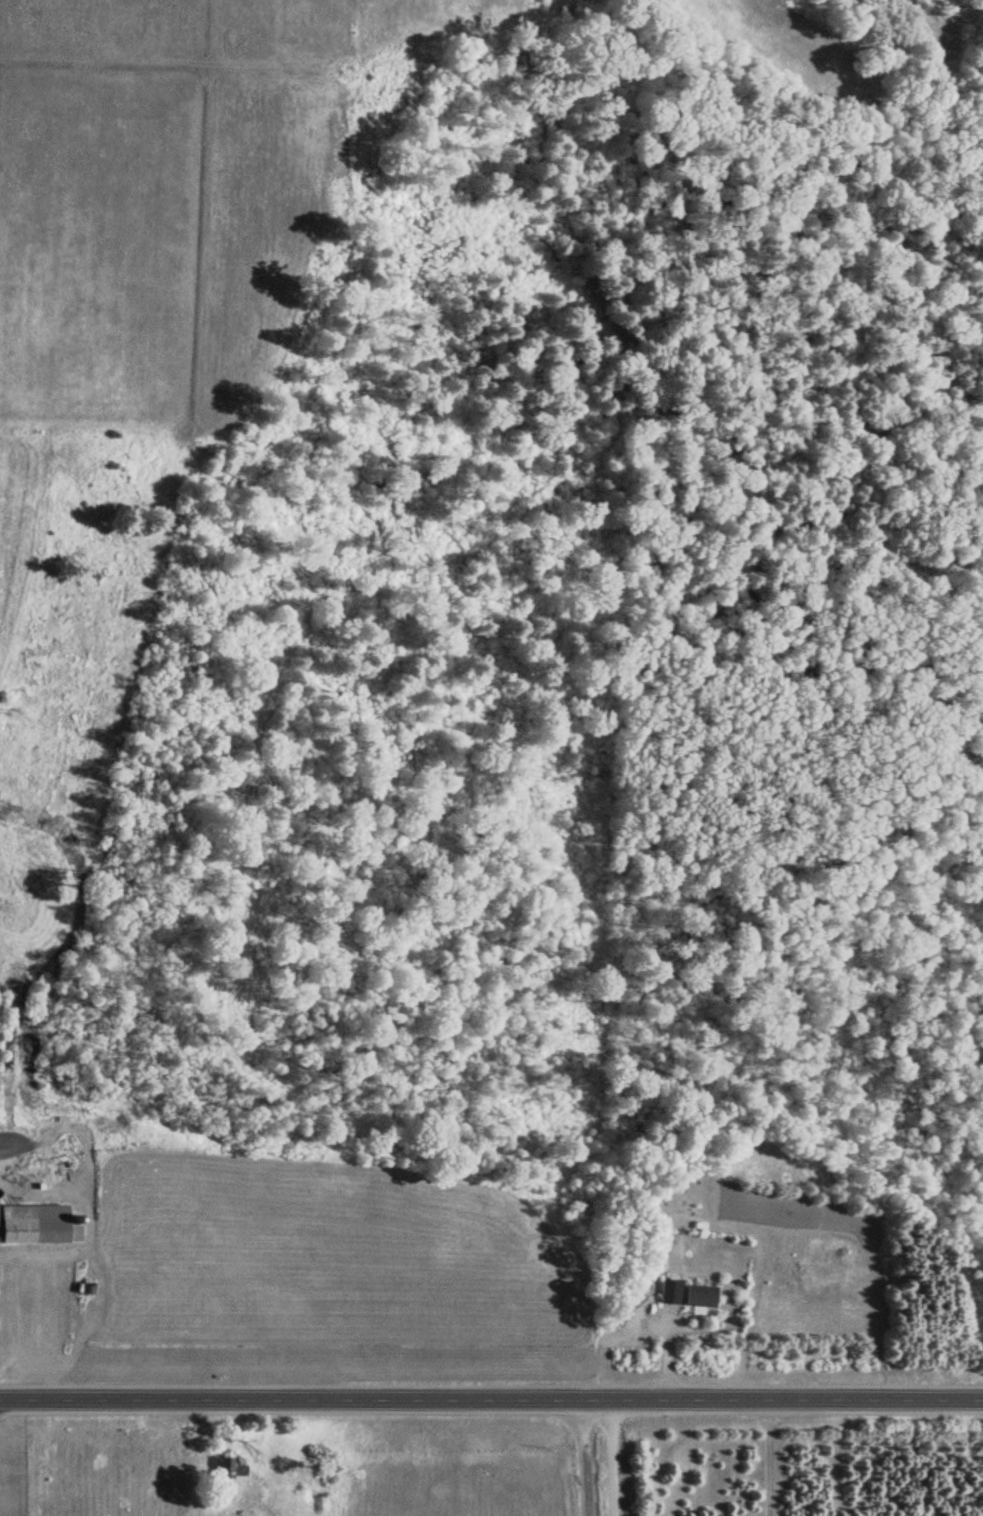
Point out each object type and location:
road: (938, 4)
crop: (160, 210)
crop: (32, 903)
building: (36, 1224)
building: (685, 1294)
road: (491, 1396)
road: (580, 1456)
road: (612, 1456)
building: (229, 1468)

